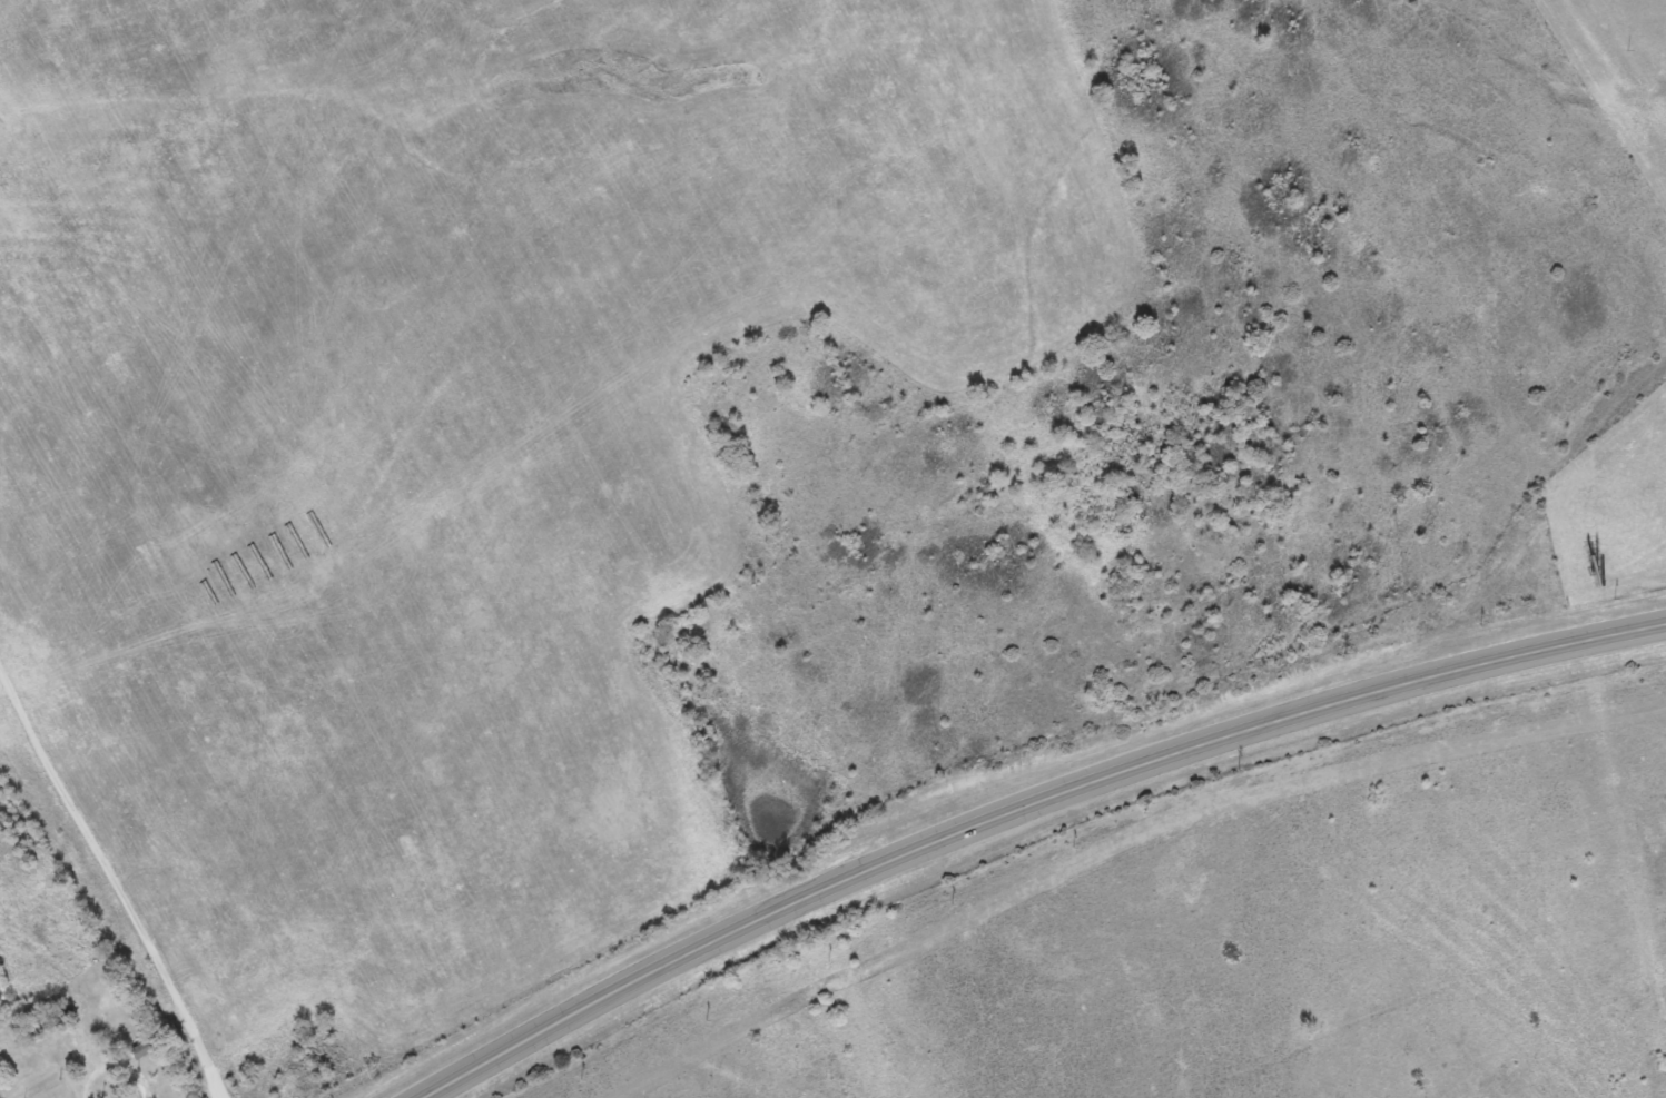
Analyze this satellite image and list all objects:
road: (1027, 809)
building: (2, 824)
road: (111, 873)
building: (119, 1001)
road: (111, 1067)
road: (218, 1090)

